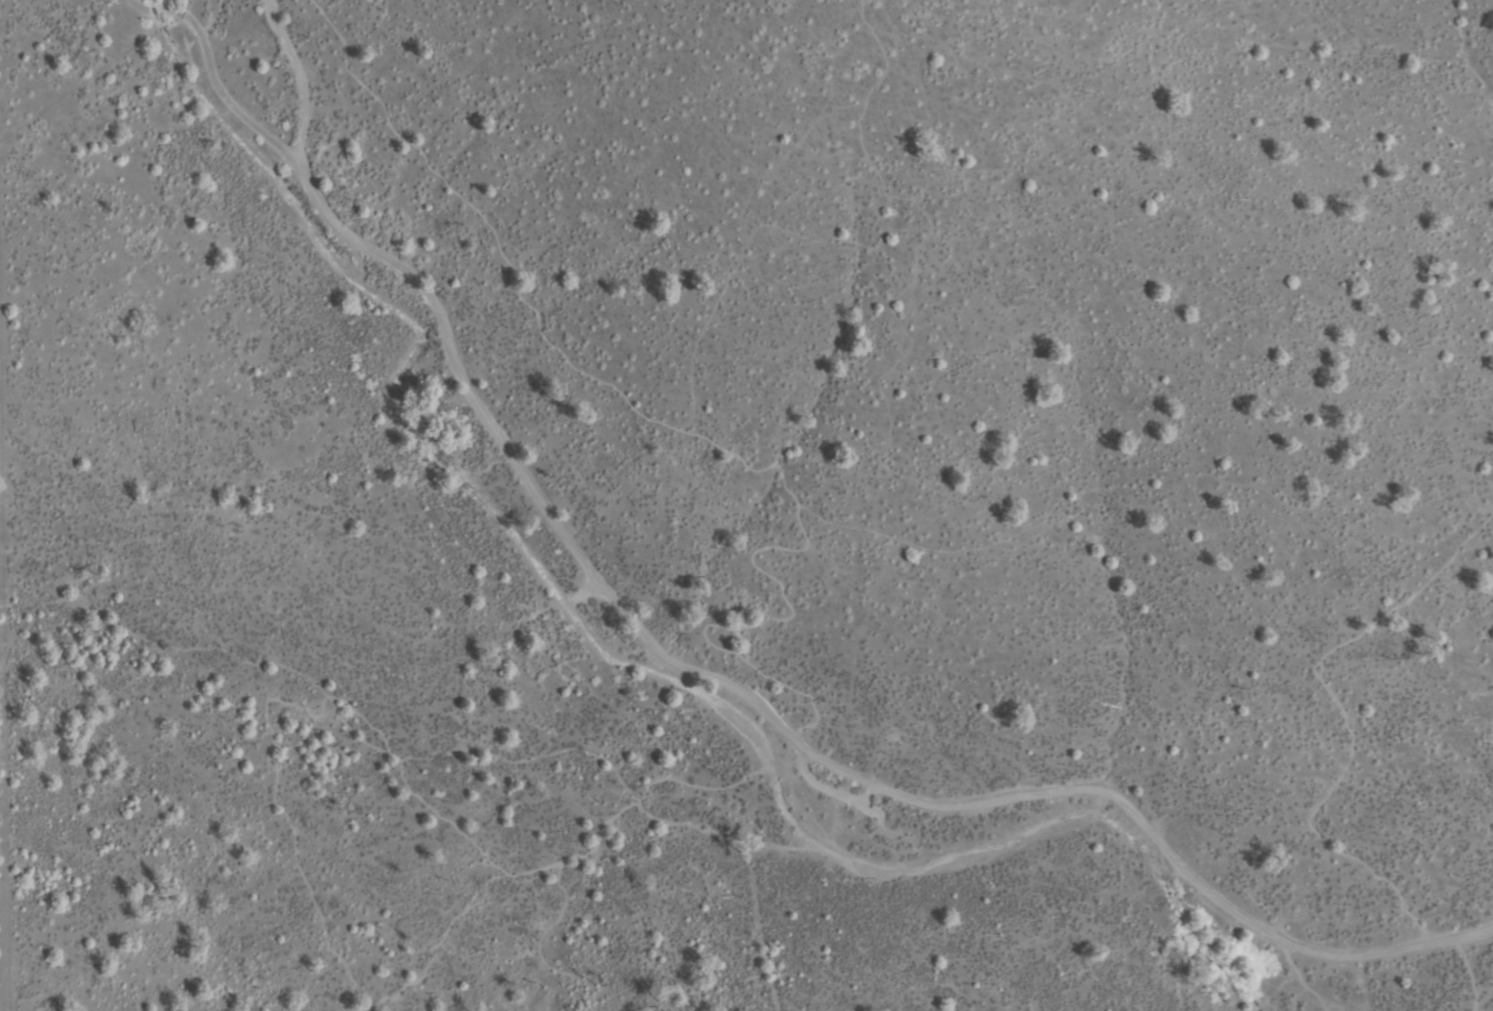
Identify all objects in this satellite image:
road: (307, 79)
road: (693, 669)
road: (1352, 757)

